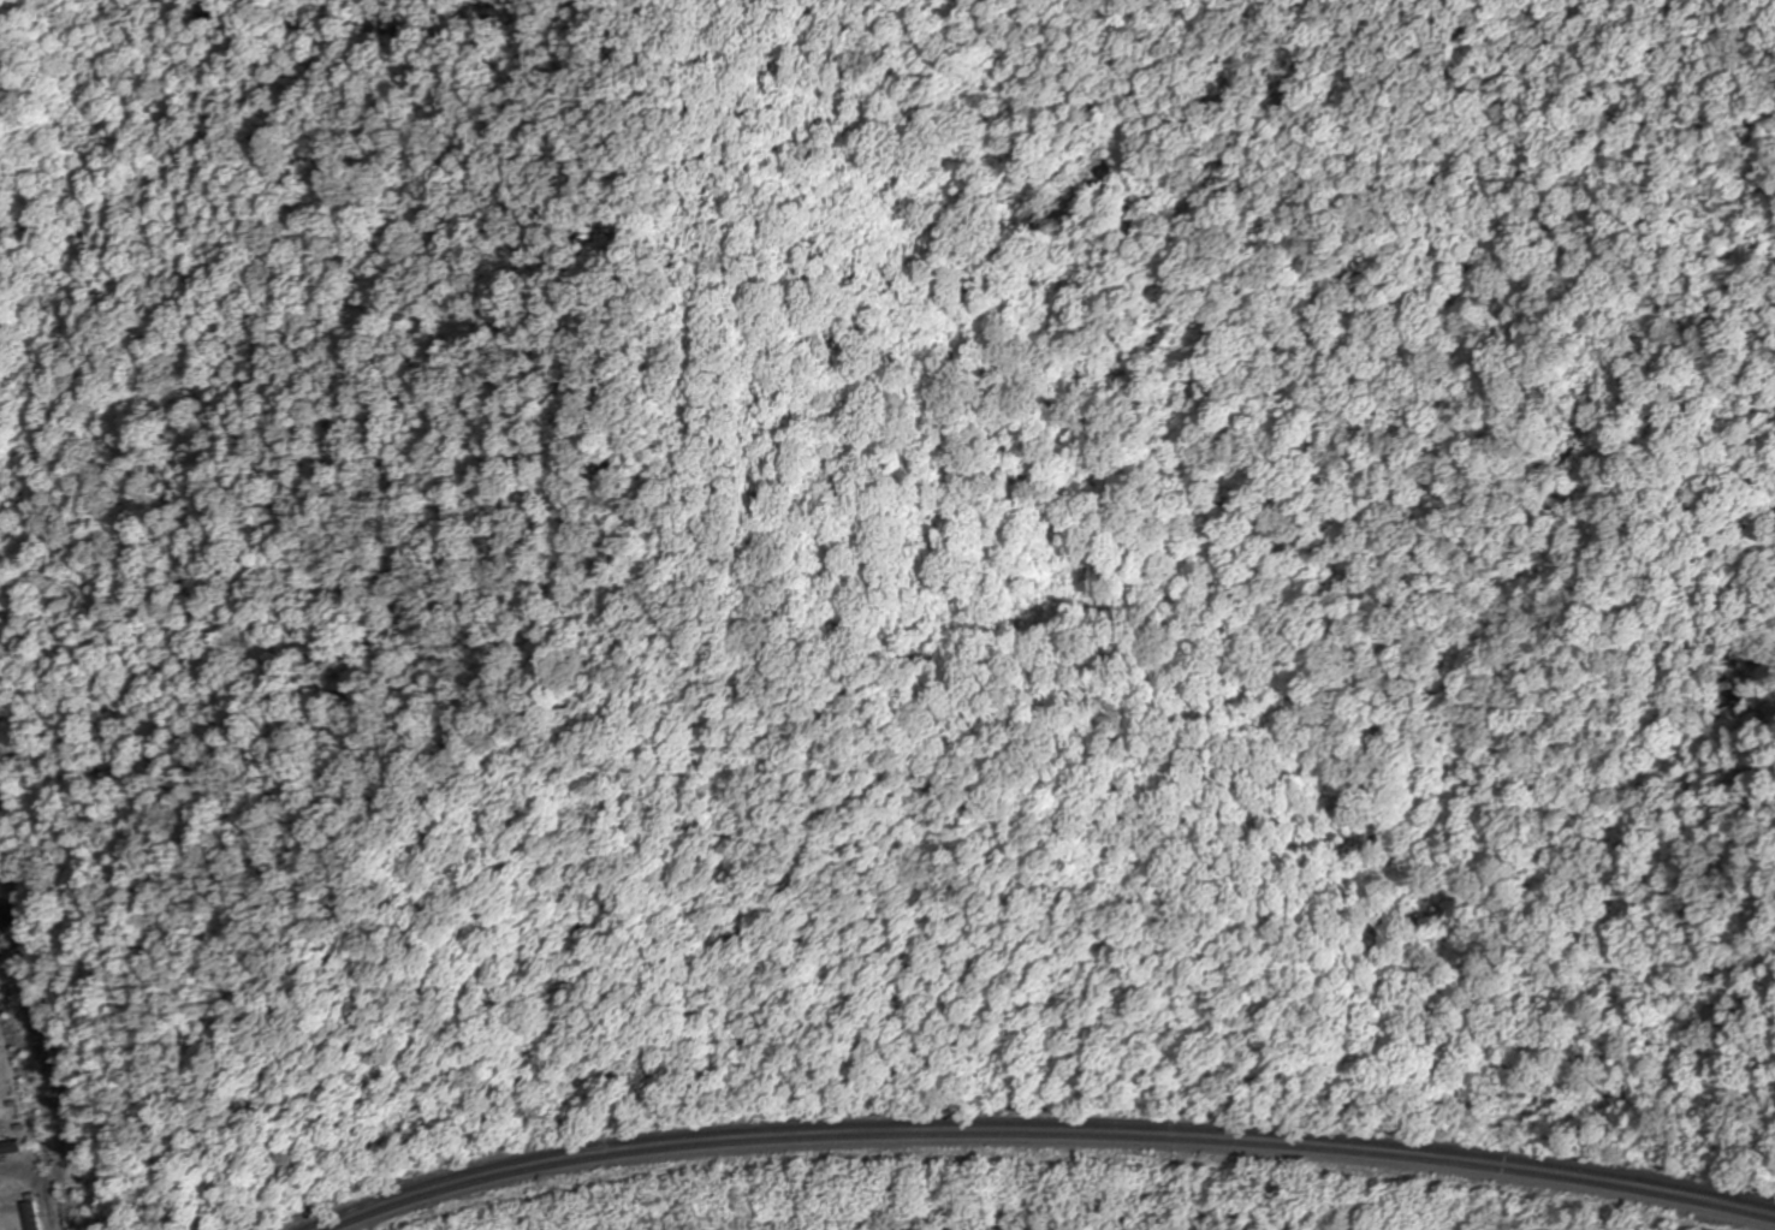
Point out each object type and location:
railway: (1037, 1124)
railway: (1050, 1135)

